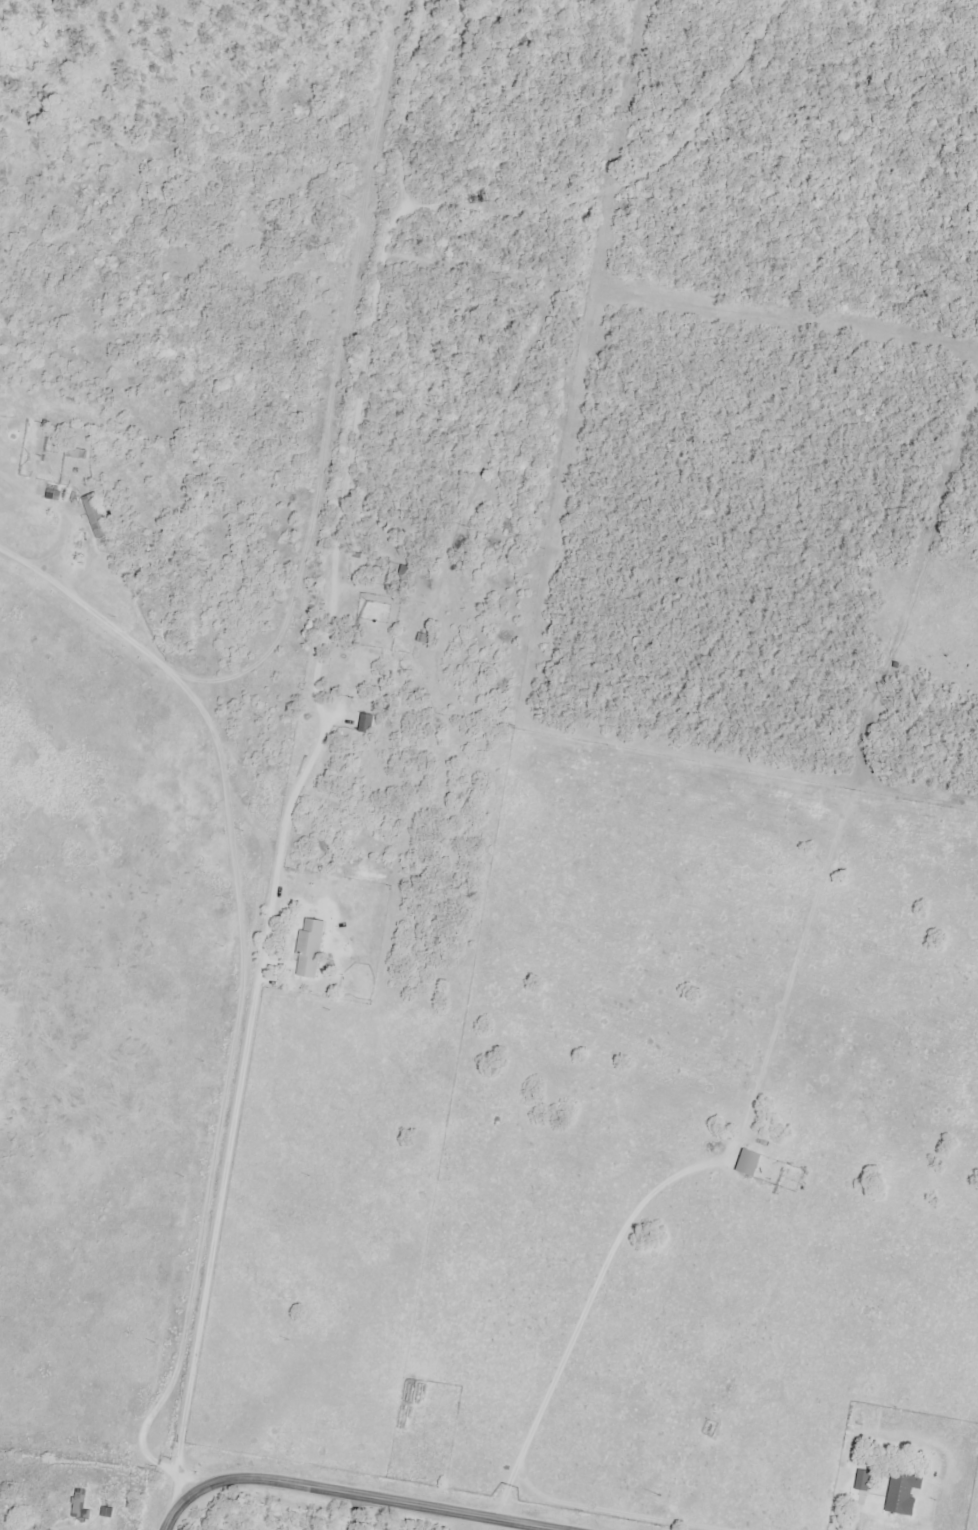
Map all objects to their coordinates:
building: (70, 453)
building: (89, 515)
building: (420, 638)
road: (275, 753)
building: (304, 948)
road: (244, 1112)
building: (741, 1163)
road: (351, 1494)
building: (80, 1503)

